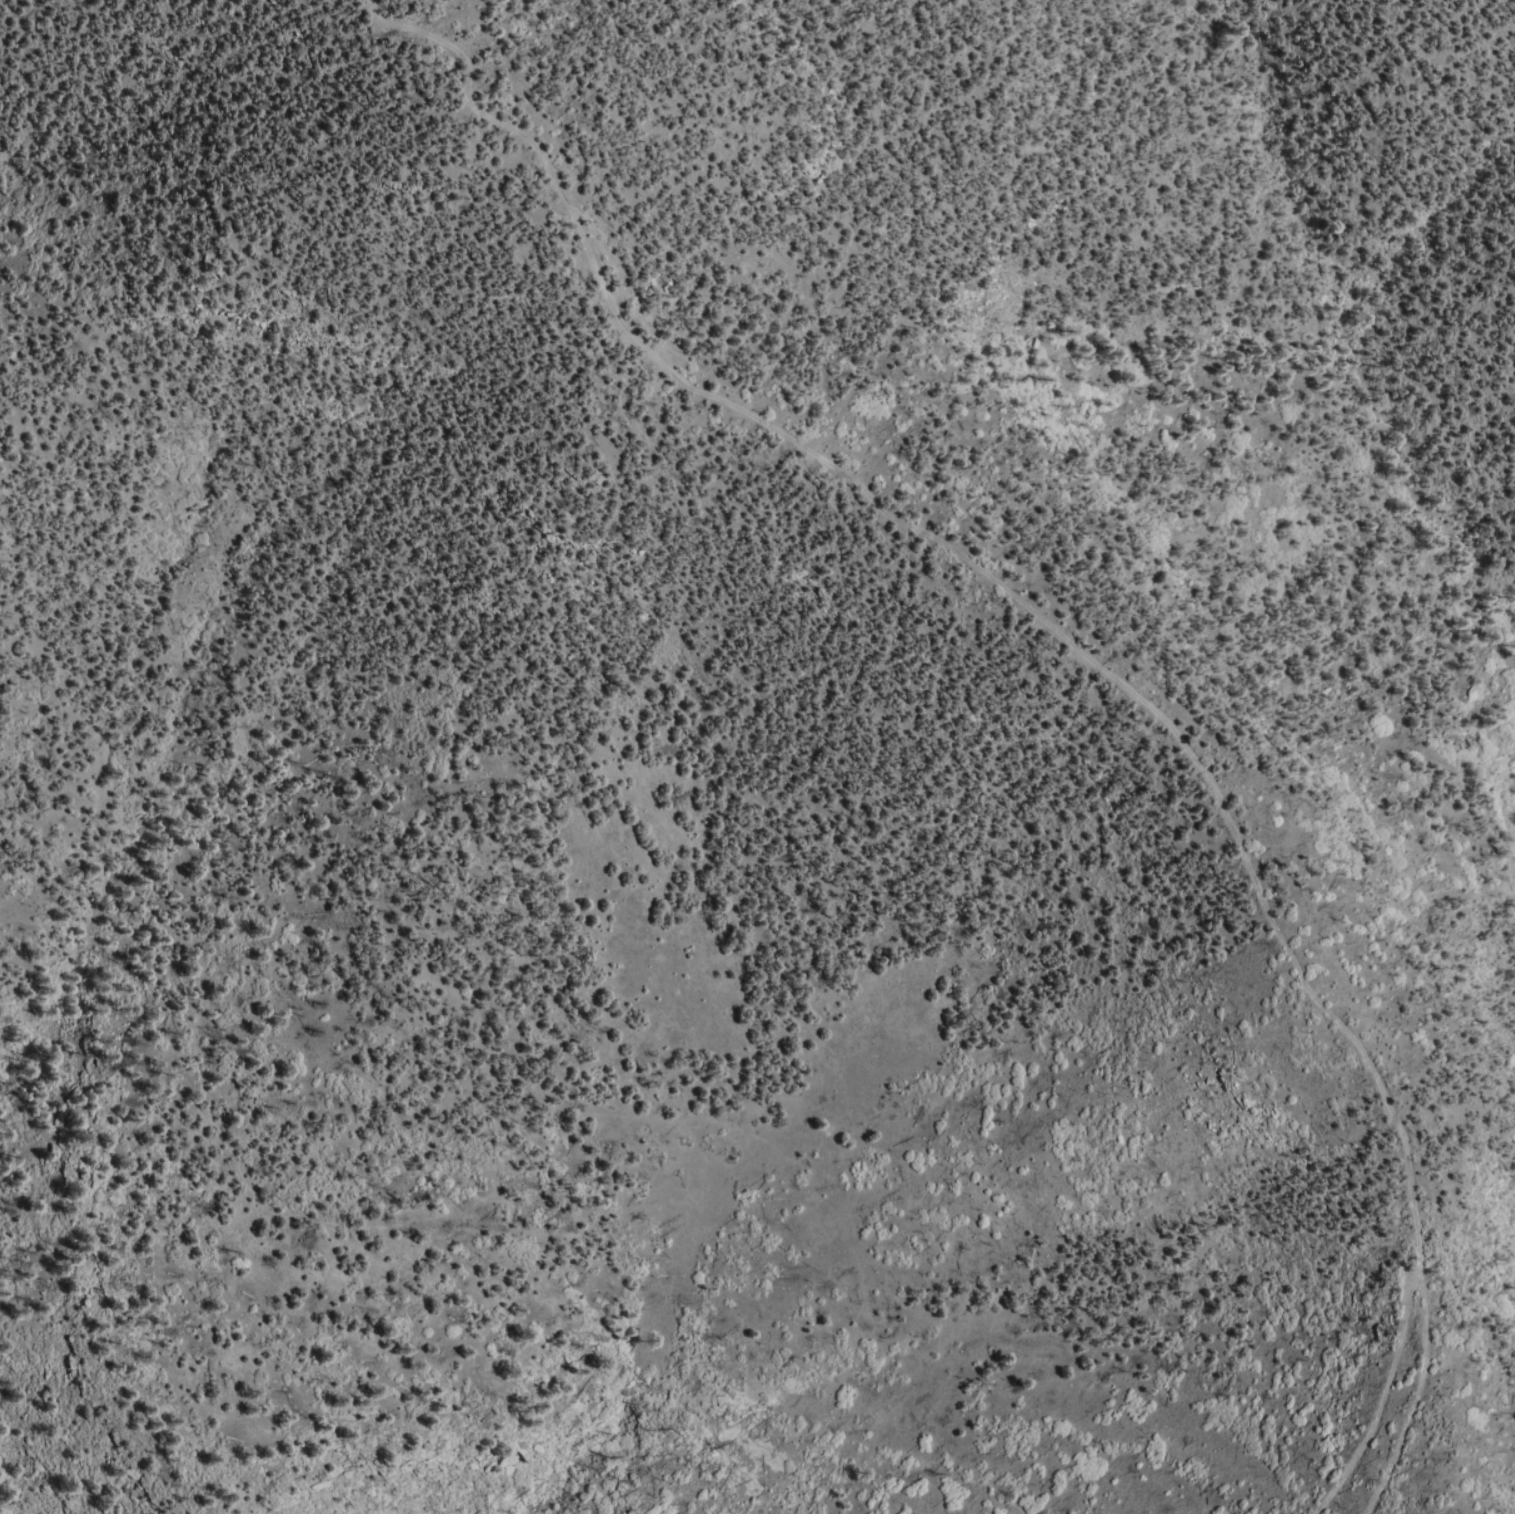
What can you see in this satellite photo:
road: (973, 564)
road: (1408, 1401)
road: (1377, 1403)

